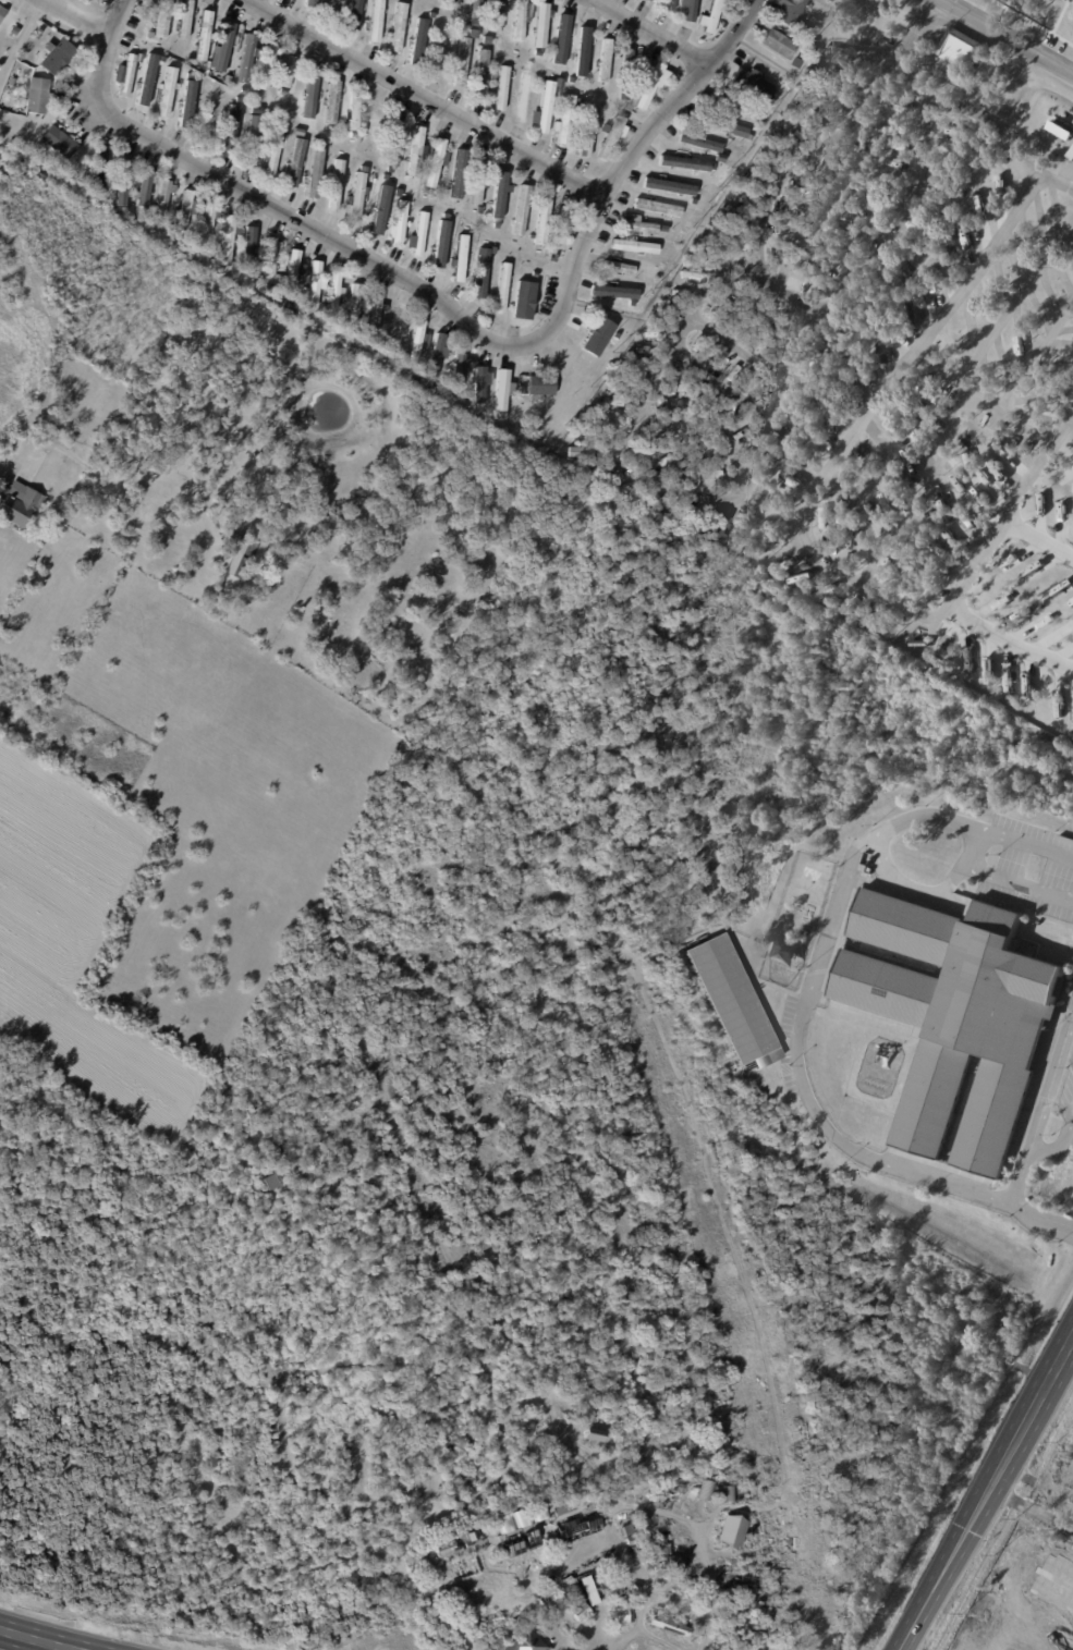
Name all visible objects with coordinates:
building: (648, 0)
building: (458, 1)
building: (828, 1)
building: (312, 3)
building: (1020, 4)
building: (667, 5)
building: (331, 8)
building: (476, 9)
building: (686, 10)
building: (2, 12)
building: (790, 12)
building: (497, 15)
building: (353, 16)
building: (710, 16)
road: (81, 19)
building: (162, 19)
building: (185, 20)
building: (520, 20)
building: (376, 21)
building: (485, 23)
building: (542, 25)
building: (399, 27)
building: (14, 30)
building: (803, 30)
road: (907, 32)
road: (646, 34)
building: (476, 35)
building: (205, 37)
road: (1007, 37)
building: (560, 38)
building: (417, 42)
building: (776, 44)
building: (222, 50)
building: (961, 50)
building: (440, 51)
building: (583, 52)
building: (59, 58)
building: (247, 59)
building: (605, 59)
building: (462, 63)
building: (268, 69)
building: (206, 71)
building: (286, 72)
building: (126, 74)
building: (483, 75)
building: (625, 76)
building: (228, 77)
building: (12, 81)
building: (147, 81)
building: (752, 85)
building: (649, 87)
building: (209, 88)
building: (502, 88)
building: (283, 90)
building: (167, 91)
building: (243, 91)
building: (521, 93)
building: (310, 94)
road: (424, 96)
building: (38, 97)
building: (331, 102)
building: (186, 103)
building: (546, 105)
building: (731, 106)
building: (256, 110)
building: (806, 111)
building: (354, 112)
building: (566, 120)
building: (722, 125)
building: (208, 126)
building: (230, 127)
building: (376, 127)
building: (606, 129)
building: (1060, 130)
building: (298, 132)
building: (796, 133)
road: (1007, 133)
building: (587, 134)
building: (353, 135)
building: (612, 137)
building: (251, 140)
building: (315, 140)
building: (699, 140)
building: (59, 142)
road: (159, 146)
building: (273, 150)
building: (393, 152)
building: (1071, 154)
building: (415, 155)
building: (367, 156)
building: (716, 156)
road: (802, 156)
building: (294, 163)
building: (436, 163)
building: (682, 163)
building: (101, 167)
building: (456, 172)
building: (314, 173)
road: (621, 173)
building: (122, 184)
building: (337, 184)
building: (383, 184)
building: (998, 185)
building: (661, 186)
building: (144, 191)
building: (475, 191)
building: (426, 192)
building: (498, 193)
building: (382, 194)
building: (398, 194)
building: (873, 194)
building: (357, 195)
building: (162, 201)
building: (979, 205)
building: (657, 208)
building: (184, 211)
building: (520, 212)
building: (377, 218)
building: (542, 221)
building: (139, 222)
building: (210, 222)
building: (398, 224)
building: (561, 227)
building: (638, 228)
building: (782, 229)
building: (744, 231)
building: (418, 234)
building: (227, 242)
building: (247, 242)
building: (439, 243)
building: (633, 247)
building: (966, 247)
building: (271, 255)
road: (852, 257)
building: (552, 258)
building: (460, 259)
building: (657, 261)
building: (618, 268)
building: (1012, 269)
building: (690, 273)
building: (293, 274)
building: (481, 274)
building: (263, 283)
building: (796, 285)
road: (417, 286)
building: (314, 288)
building: (502, 288)
building: (612, 290)
building: (734, 292)
building: (676, 293)
building: (525, 294)
road: (787, 296)
building: (334, 297)
road: (1014, 300)
building: (289, 307)
building: (354, 309)
building: (375, 318)
road: (685, 322)
building: (394, 331)
building: (822, 334)
building: (887, 337)
building: (586, 342)
building: (415, 346)
road: (734, 349)
building: (638, 350)
building: (821, 352)
building: (436, 353)
road: (1035, 355)
building: (606, 357)
building: (801, 368)
building: (459, 370)
building: (864, 371)
building: (670, 381)
building: (479, 382)
road: (716, 386)
building: (848, 386)
building: (540, 387)
building: (521, 391)
building: (500, 392)
building: (931, 396)
building: (86, 398)
road: (983, 400)
building: (728, 412)
building: (795, 412)
building: (923, 414)
road: (858, 421)
building: (830, 424)
road: (1068, 433)
building: (739, 435)
building: (914, 438)
building: (784, 439)
building: (817, 443)
road: (687, 445)
building: (769, 456)
building: (907, 459)
building: (967, 461)
building: (1017, 466)
building: (693, 475)
building: (78, 478)
building: (791, 478)
building: (985, 480)
building: (838, 484)
road: (668, 486)
building: (32, 491)
road: (924, 494)
building: (978, 498)
road: (1010, 506)
building: (870, 508)
building: (125, 518)
building: (966, 521)
building: (825, 528)
building: (719, 529)
building: (950, 537)
road: (1039, 537)
building: (244, 562)
building: (886, 564)
building: (906, 564)
building: (1029, 572)
building: (117, 574)
building: (905, 597)
building: (1040, 622)
road: (1012, 638)
road: (970, 846)
parking lot: (1028, 867)
road: (1015, 882)
road: (910, 887)
crop: (73, 940)
building: (731, 1001)
road: (803, 1007)
building: (958, 1019)
parking lot: (1072, 1056)
road: (1050, 1080)
parking lot: (1065, 1096)
road: (1061, 1142)
building: (282, 1154)
building: (334, 1166)
road: (1019, 1180)
building: (268, 1182)
building: (275, 1184)
road: (554, 1417)
building: (594, 1433)
park: (402, 1456)
building: (815, 1477)
building: (724, 1492)
road: (985, 1492)
building: (517, 1505)
building: (566, 1507)
road: (1031, 1507)
building: (540, 1513)
road: (685, 1519)
building: (576, 1528)
building: (627, 1530)
building: (734, 1530)
building: (519, 1537)
building: (630, 1541)
building: (460, 1542)
building: (674, 1553)
building: (581, 1573)
road: (683, 1575)
road: (415, 1585)
building: (615, 1587)
building: (587, 1589)
building: (575, 1606)
road: (1016, 1614)
building: (624, 1615)
building: (671, 1624)
road: (37, 1639)
building: (526, 1640)
building: (499, 1643)

